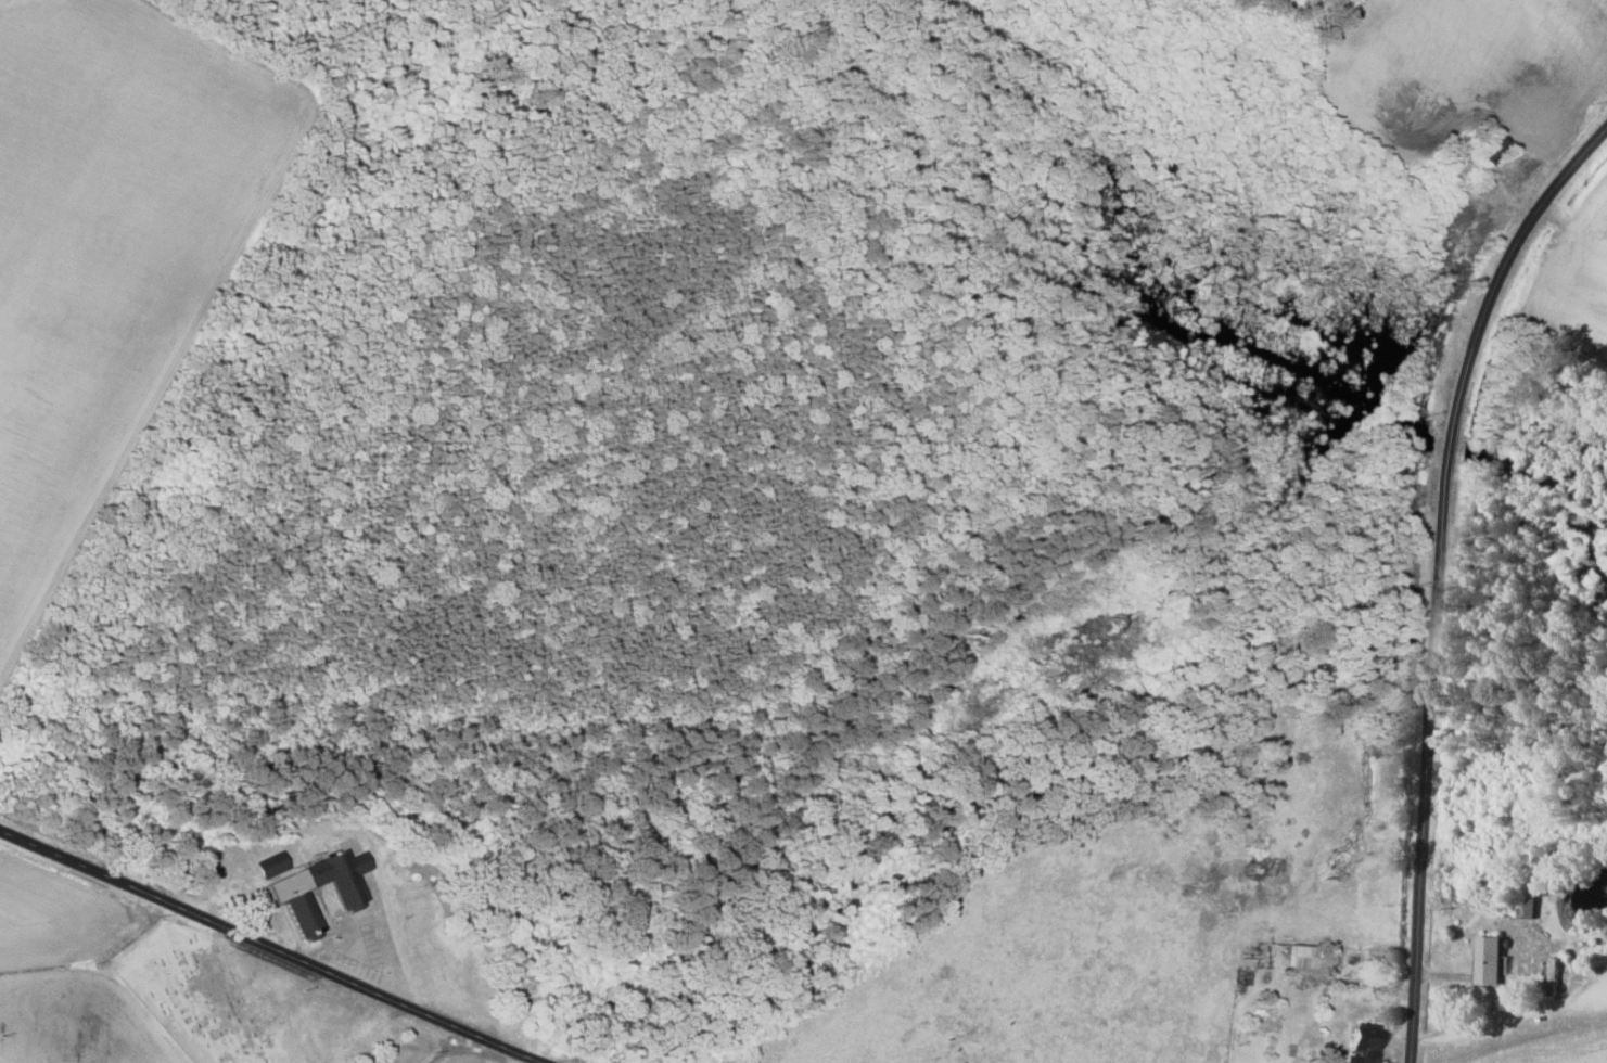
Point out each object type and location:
road: (1436, 573)
building: (286, 895)
building: (1525, 909)
road: (270, 949)
building: (1301, 957)
building: (1489, 960)
building: (1364, 1043)

